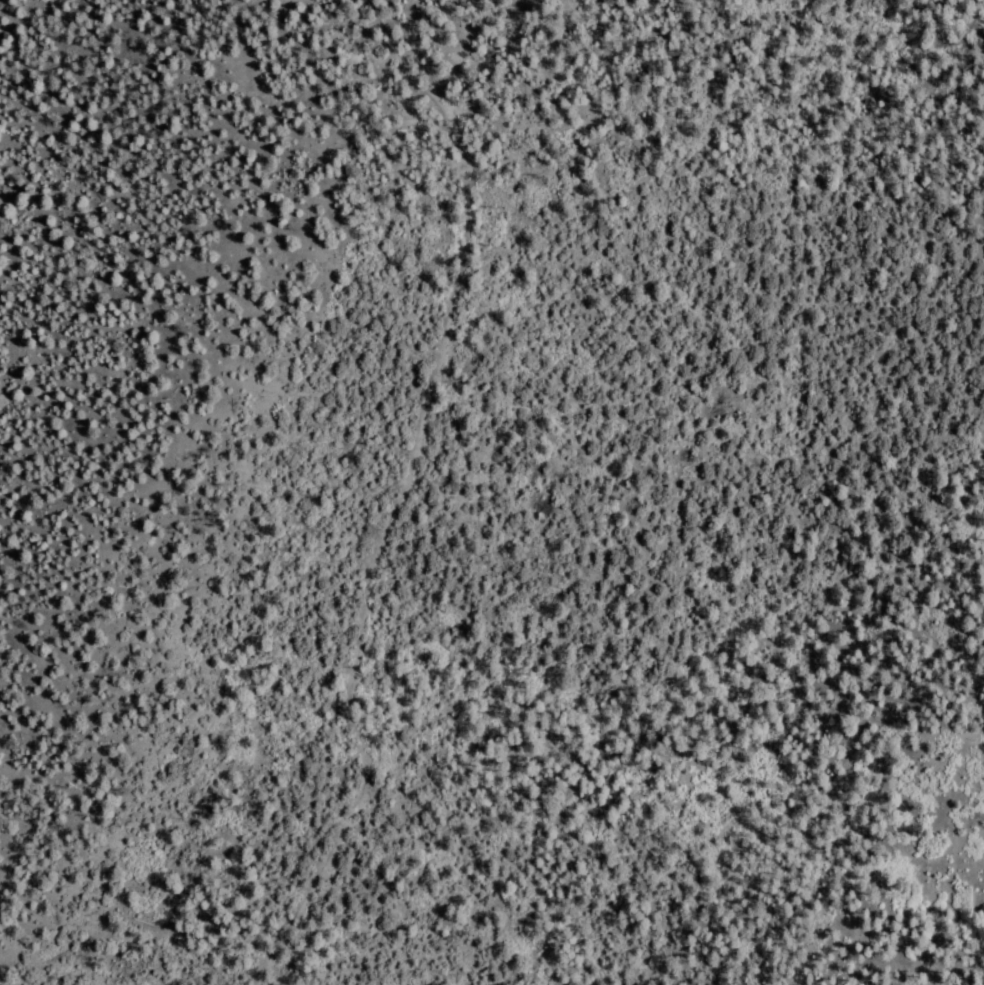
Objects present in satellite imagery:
road: (392, 497)

